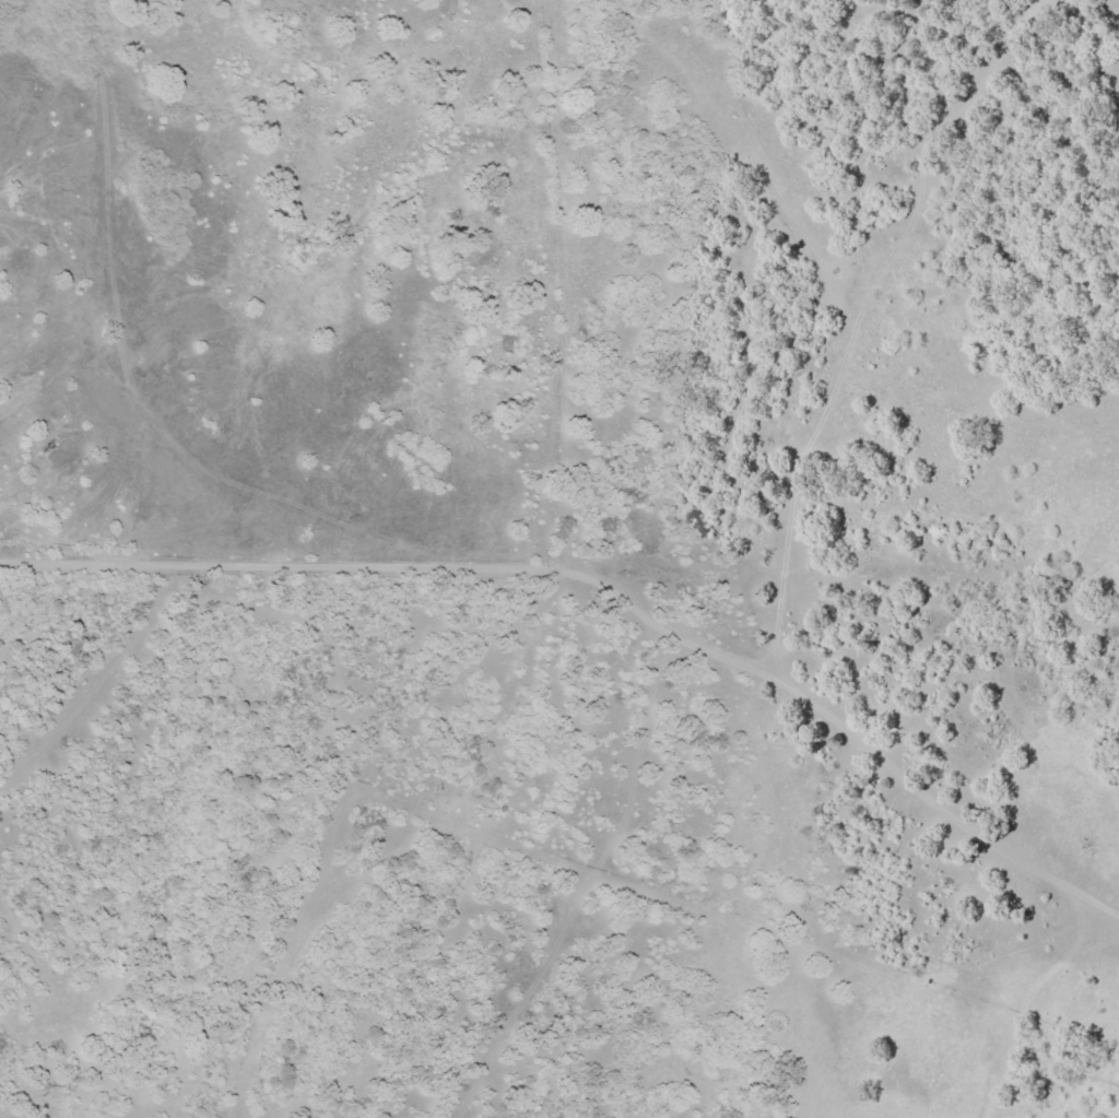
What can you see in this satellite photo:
road: (608, 581)

